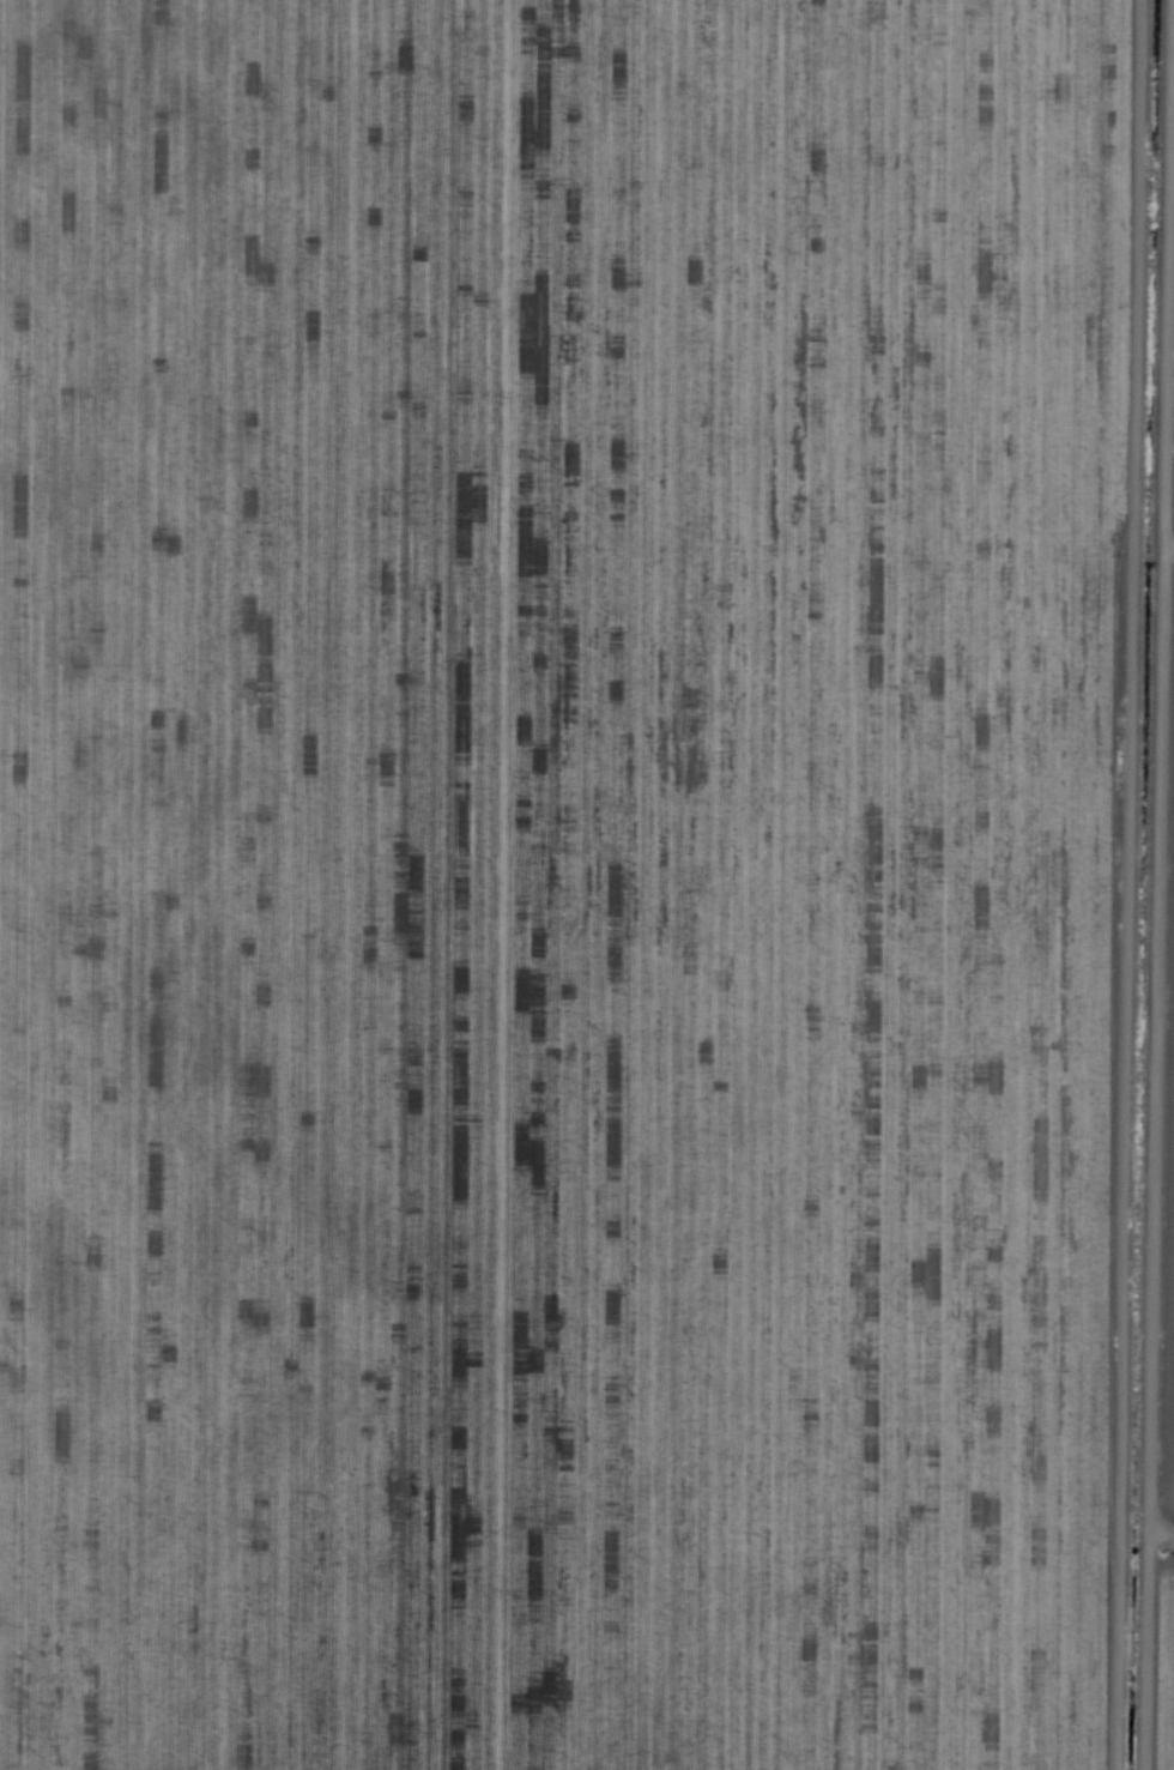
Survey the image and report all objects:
crop: (583, 882)
crop: (1169, 1352)

